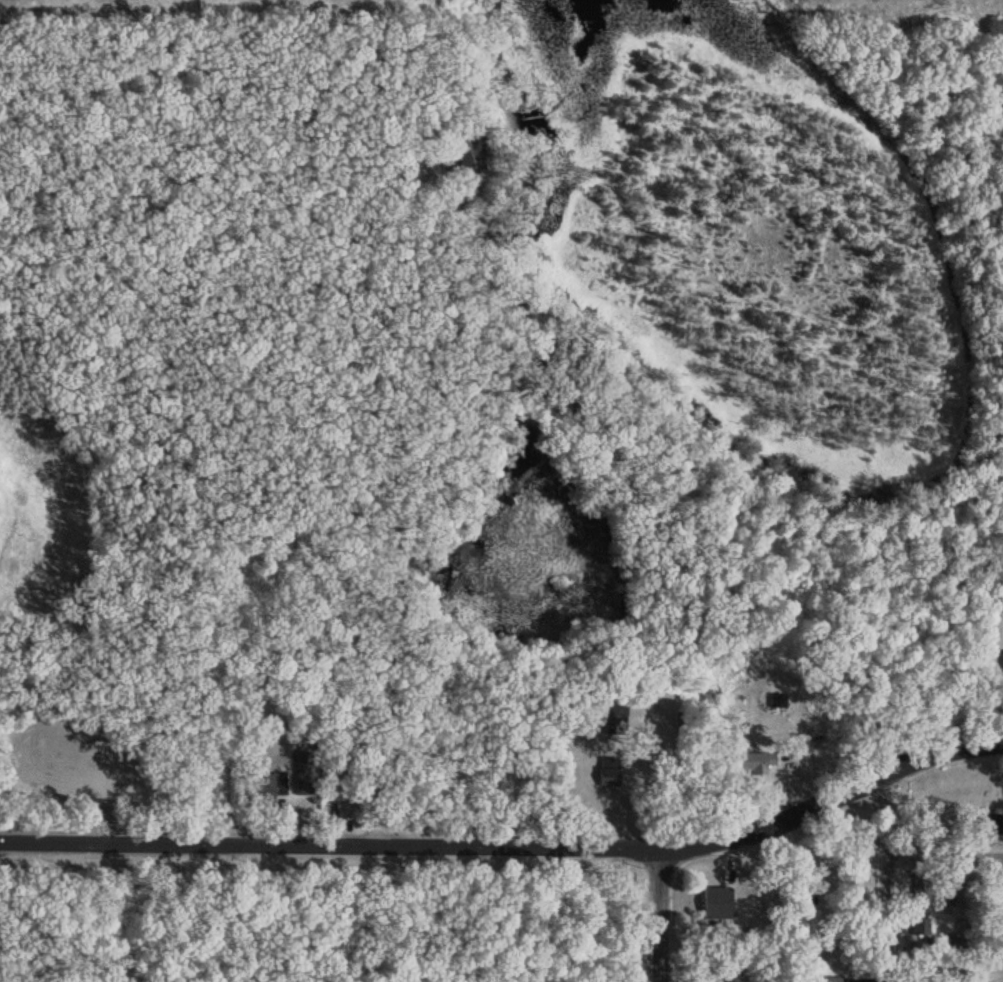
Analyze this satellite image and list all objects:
building: (464, 148)
building: (403, 165)
road: (463, 487)
road: (393, 521)
park: (63, 626)
building: (777, 701)
building: (613, 718)
building: (754, 761)
building: (304, 772)
parking lot: (79, 774)
building: (606, 777)
building: (266, 789)
building: (338, 791)
building: (989, 823)
road: (949, 842)
road: (511, 845)
road: (895, 875)
building: (943, 888)
building: (716, 902)
building: (919, 903)
road: (658, 914)

